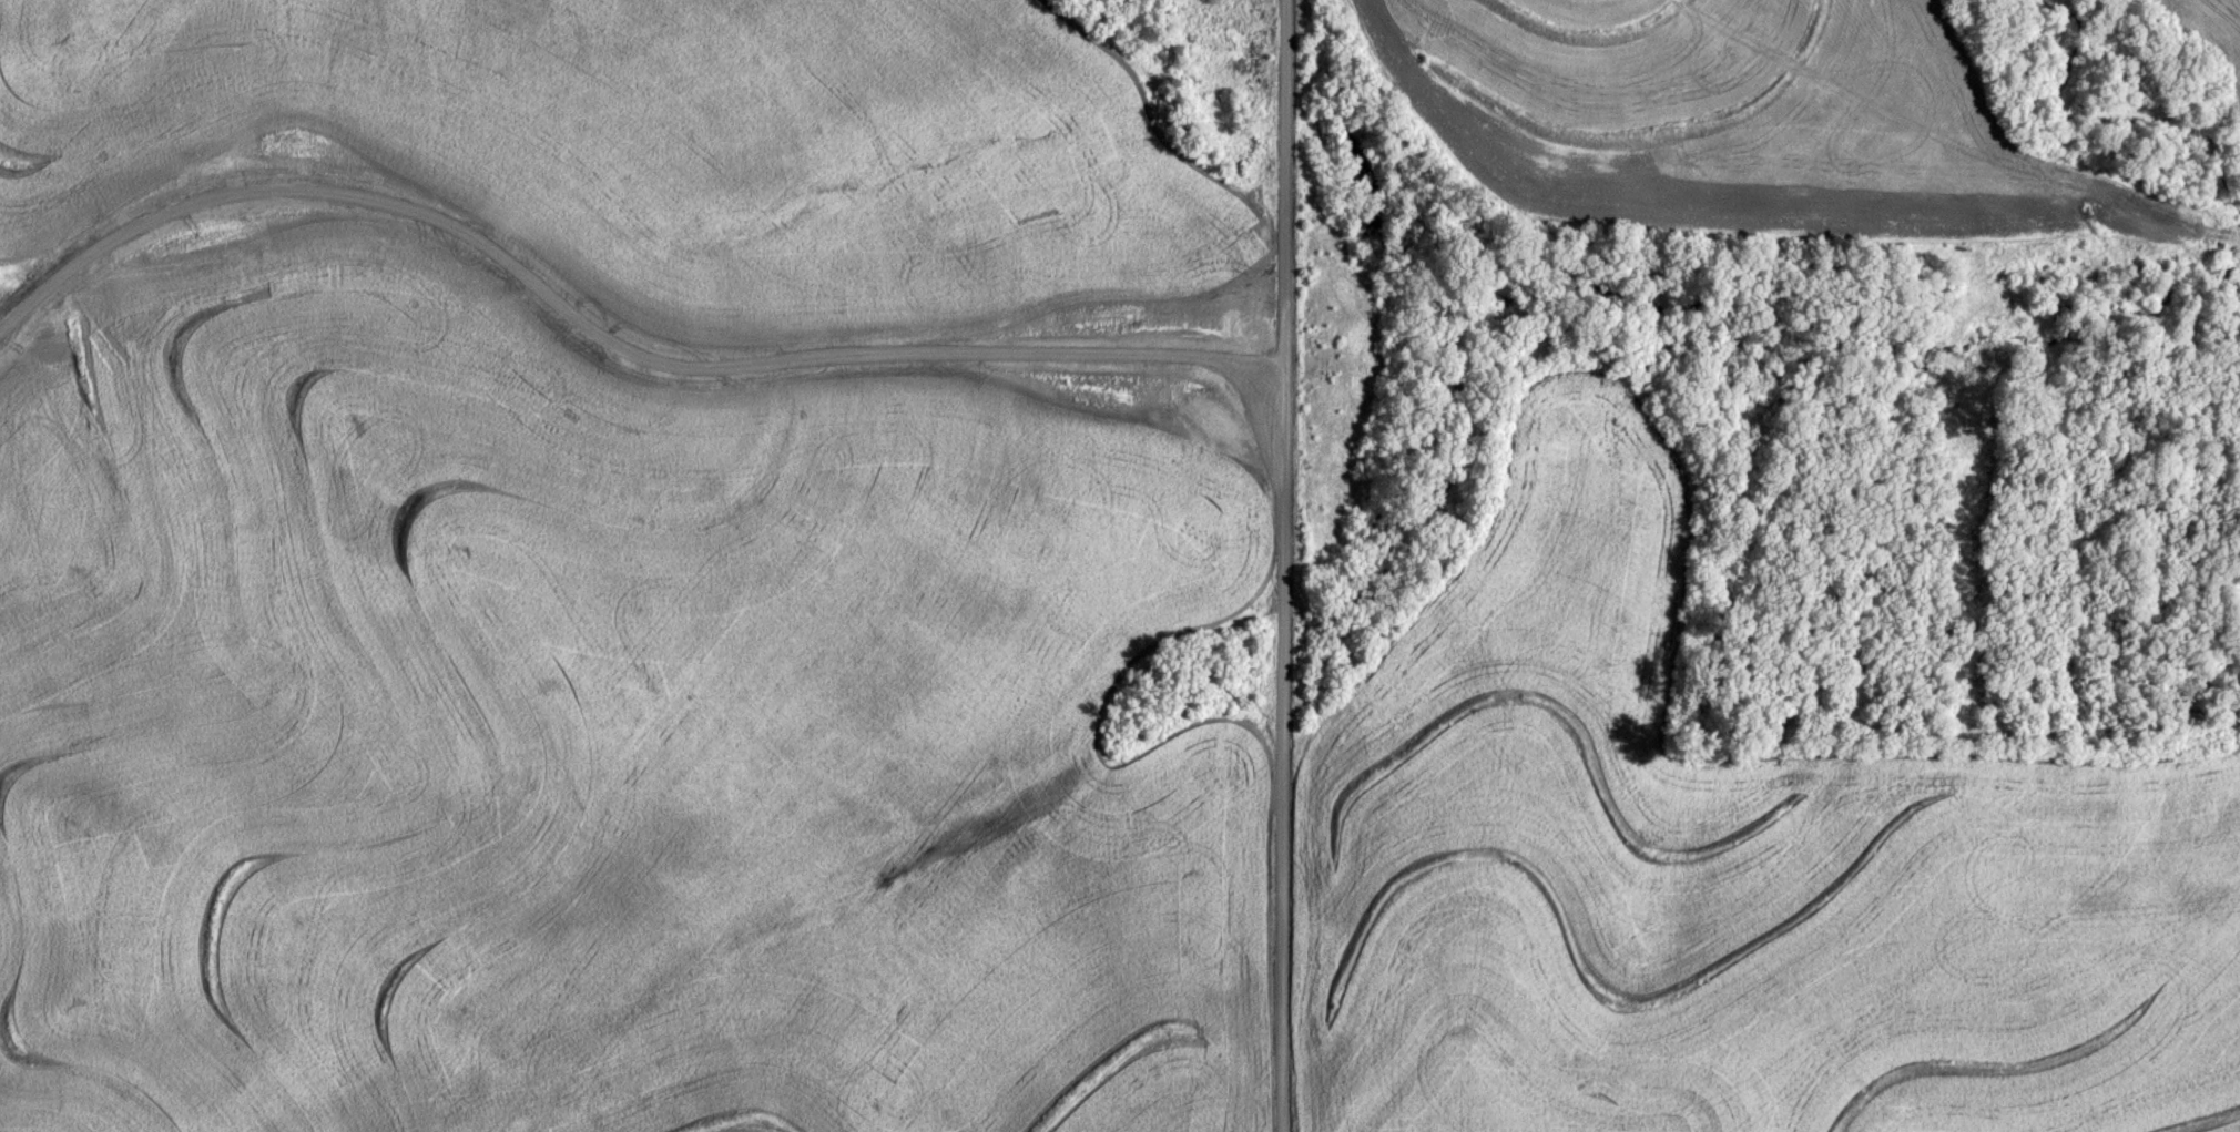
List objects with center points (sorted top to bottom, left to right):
road: (1287, 565)

